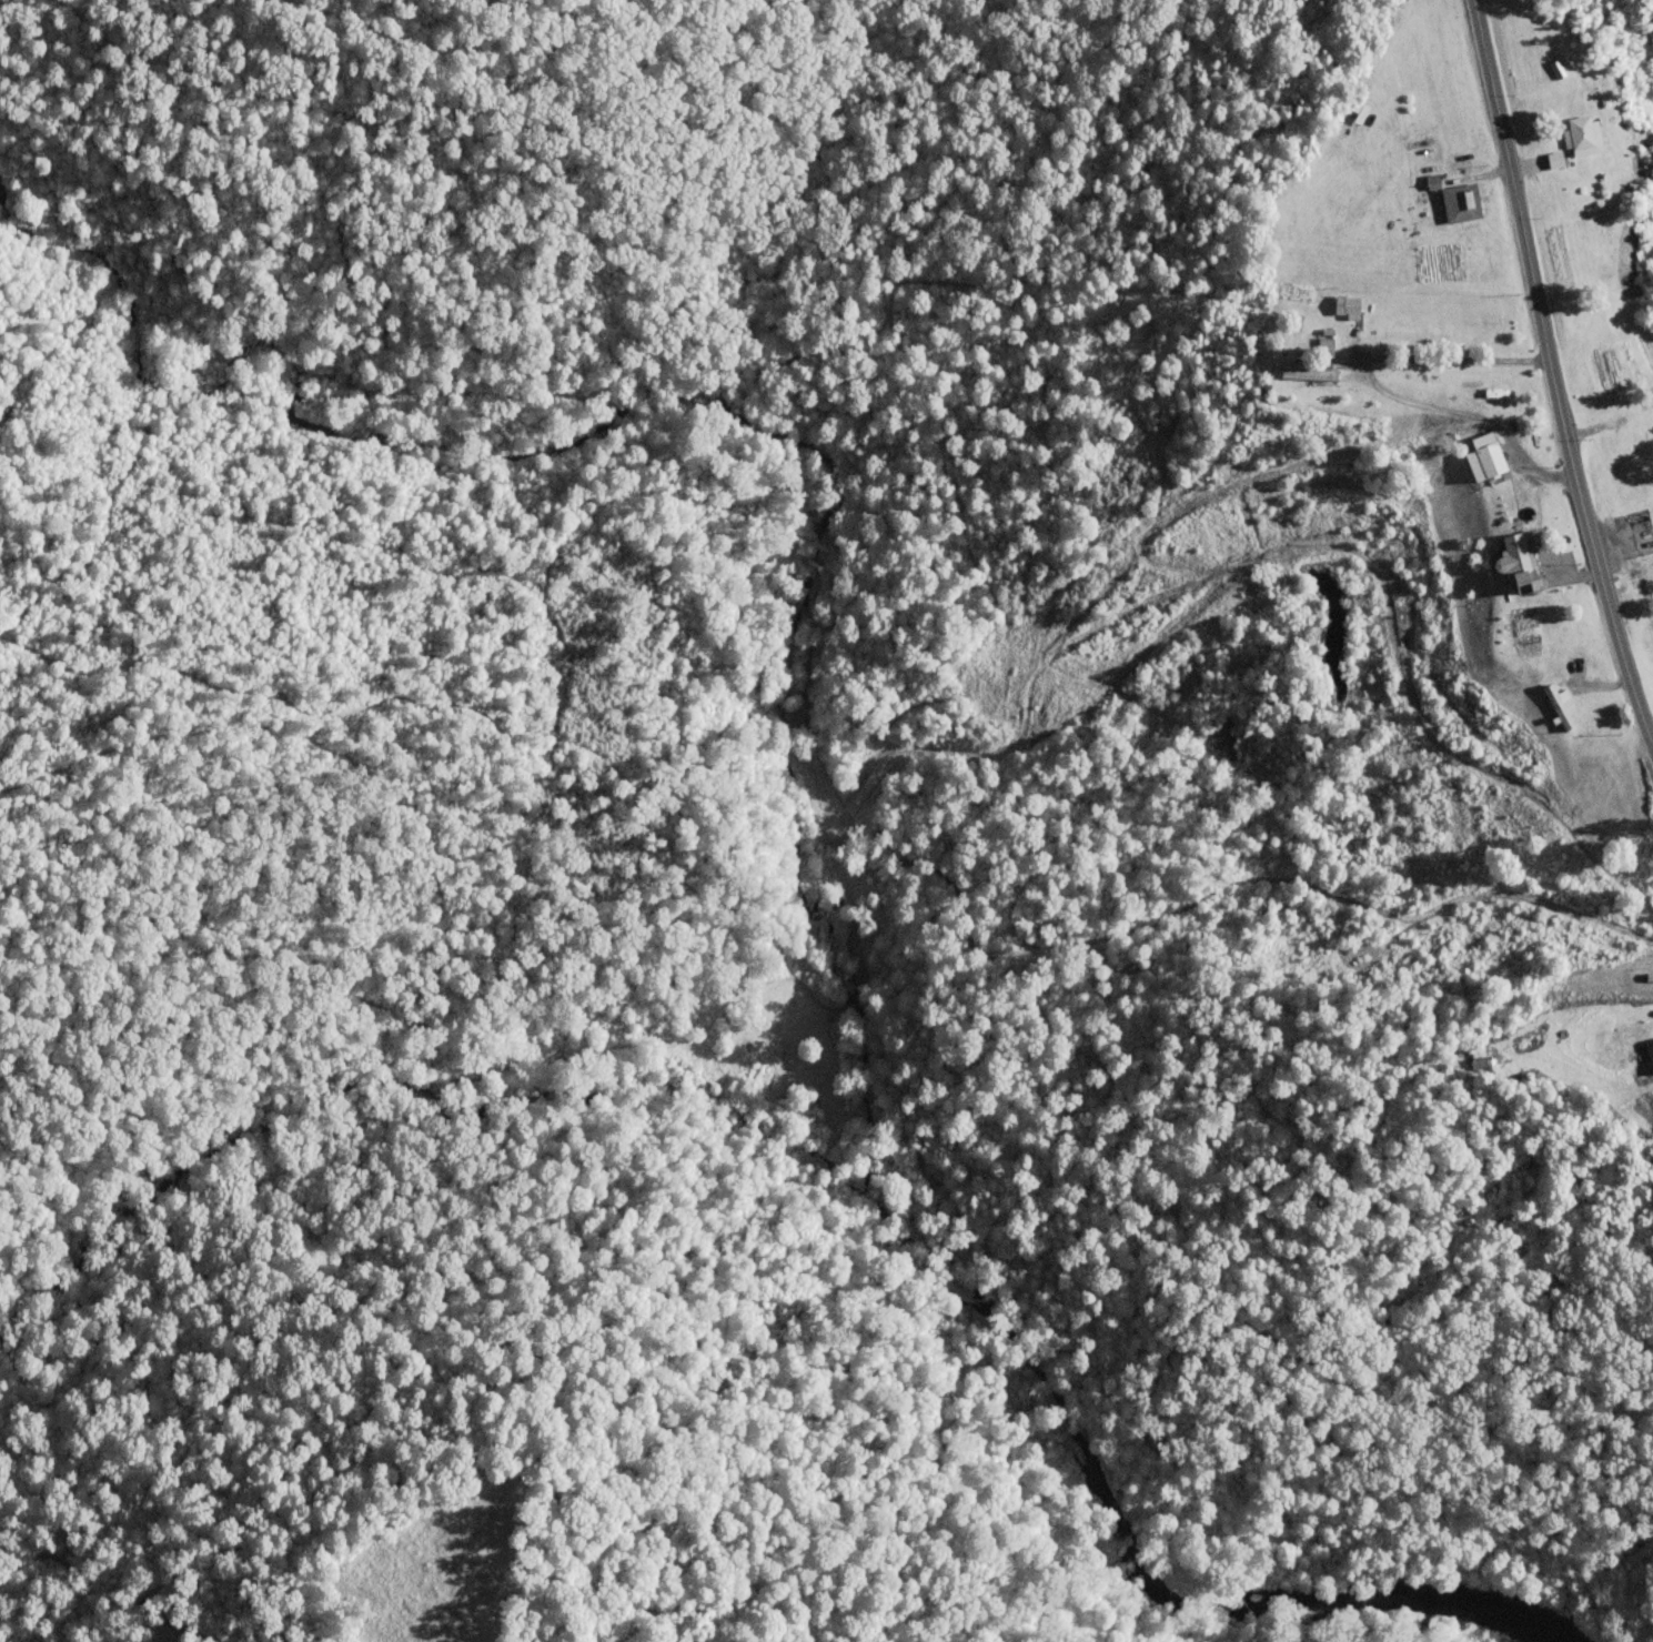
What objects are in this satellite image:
building: (1582, 135)
building: (1461, 204)
building: (1345, 304)
building: (1324, 347)
building: (1308, 374)
road: (1553, 376)
road: (1377, 389)
building: (1484, 456)
building: (1518, 562)
building: (1558, 705)
building: (1650, 1050)

